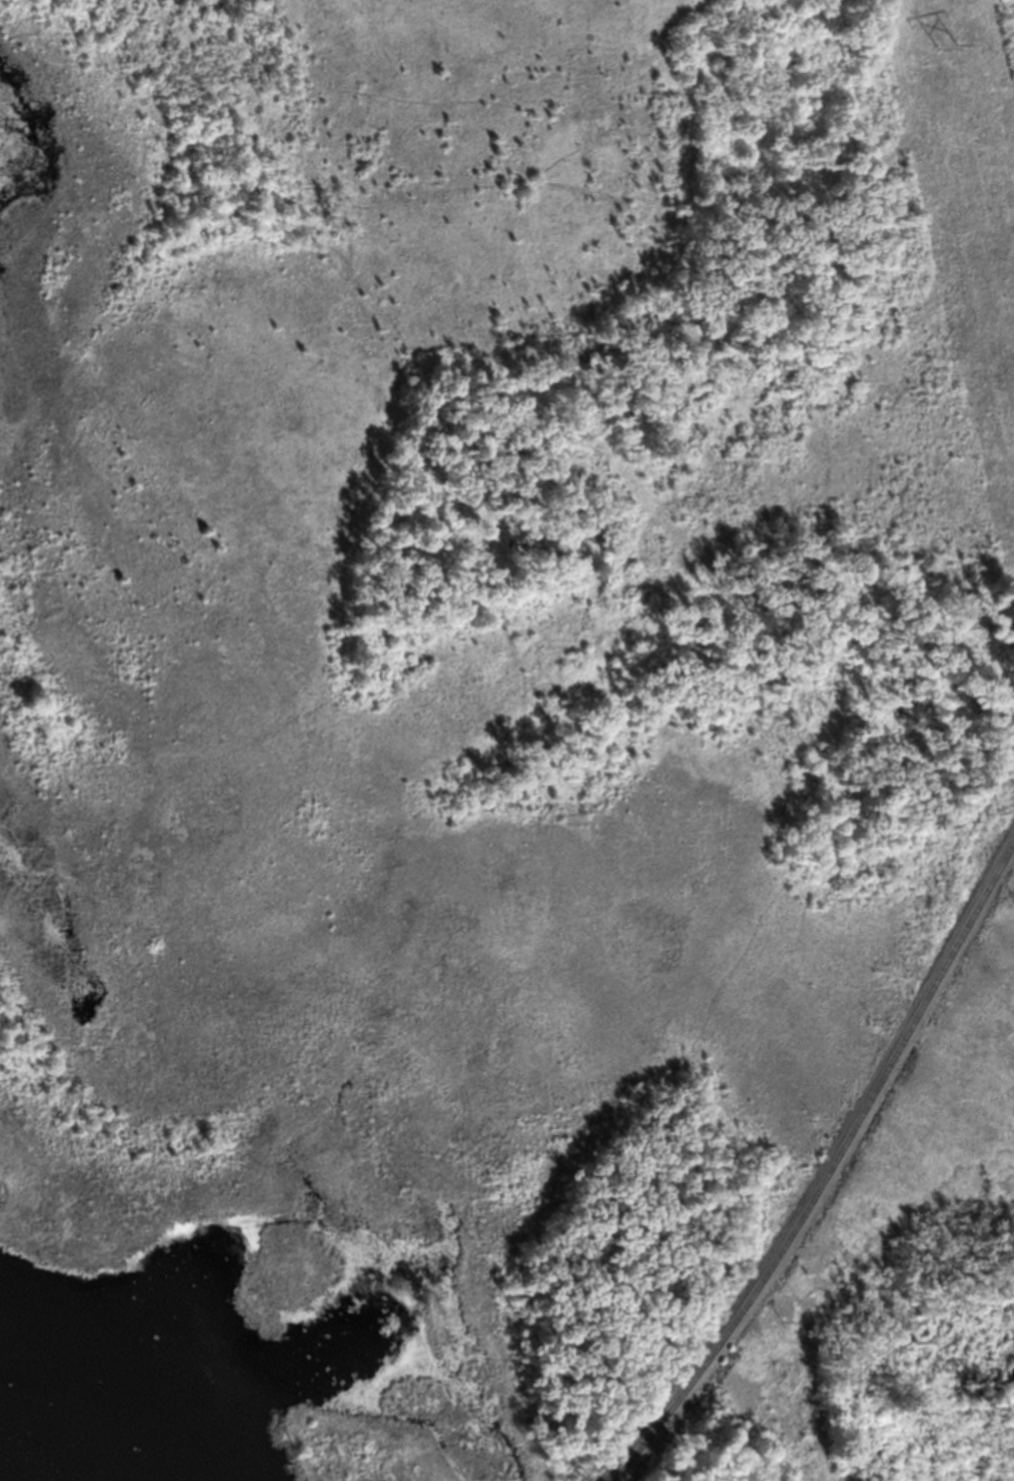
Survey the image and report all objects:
power tower: (946, 45)
railway: (827, 1172)

